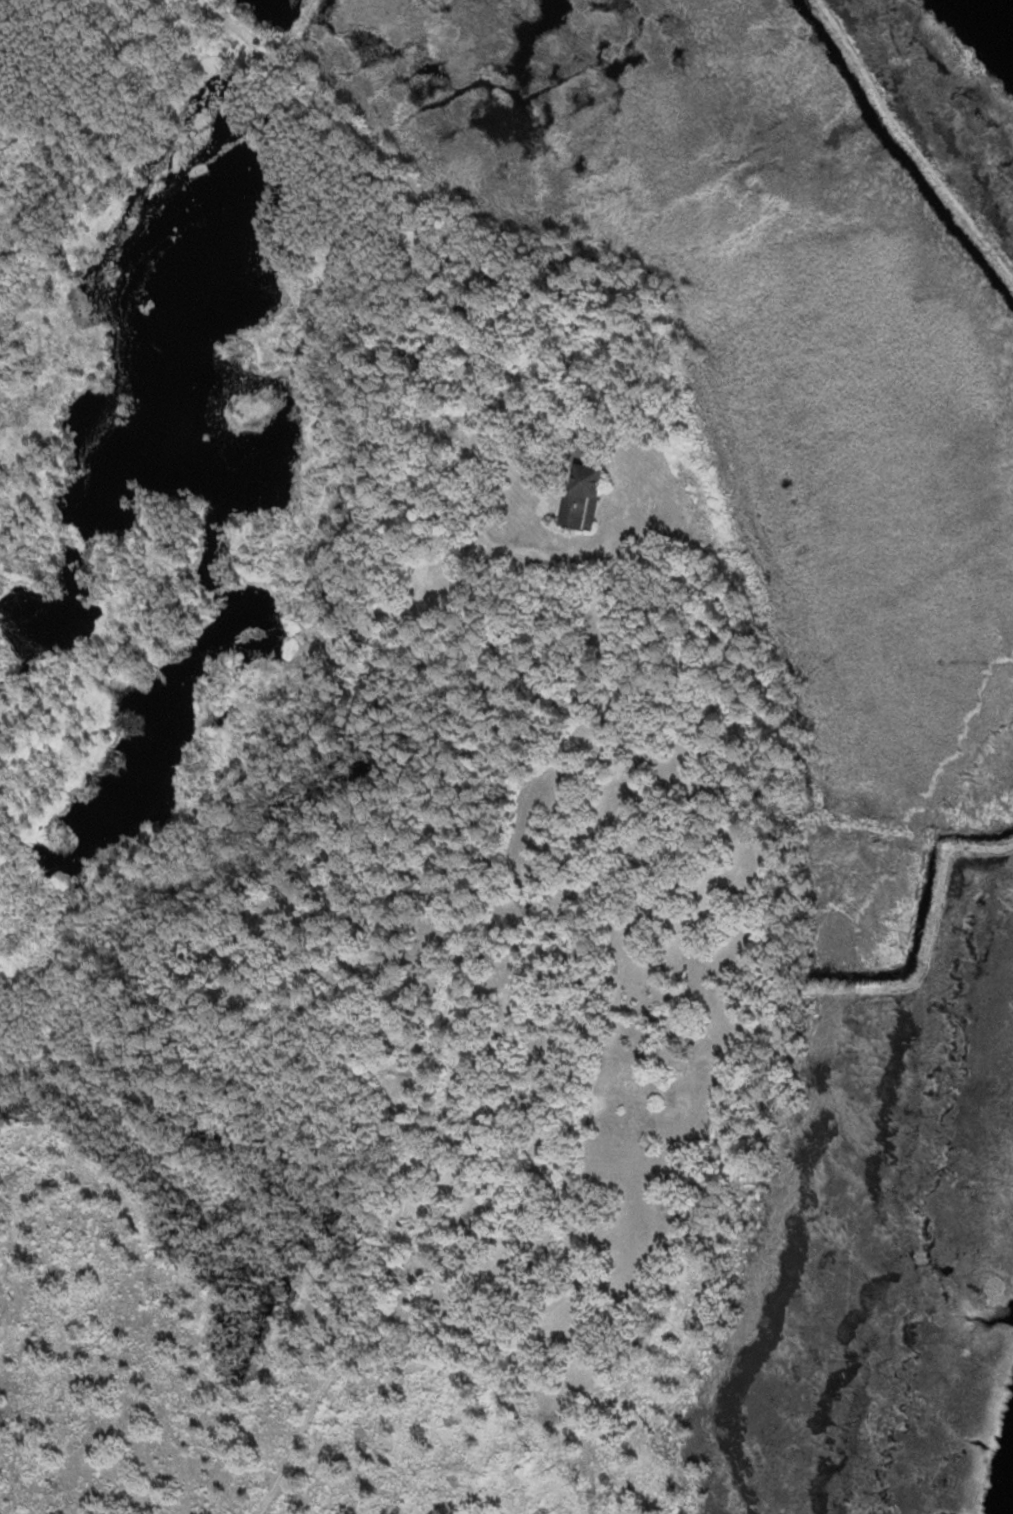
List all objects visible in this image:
building: (583, 493)

